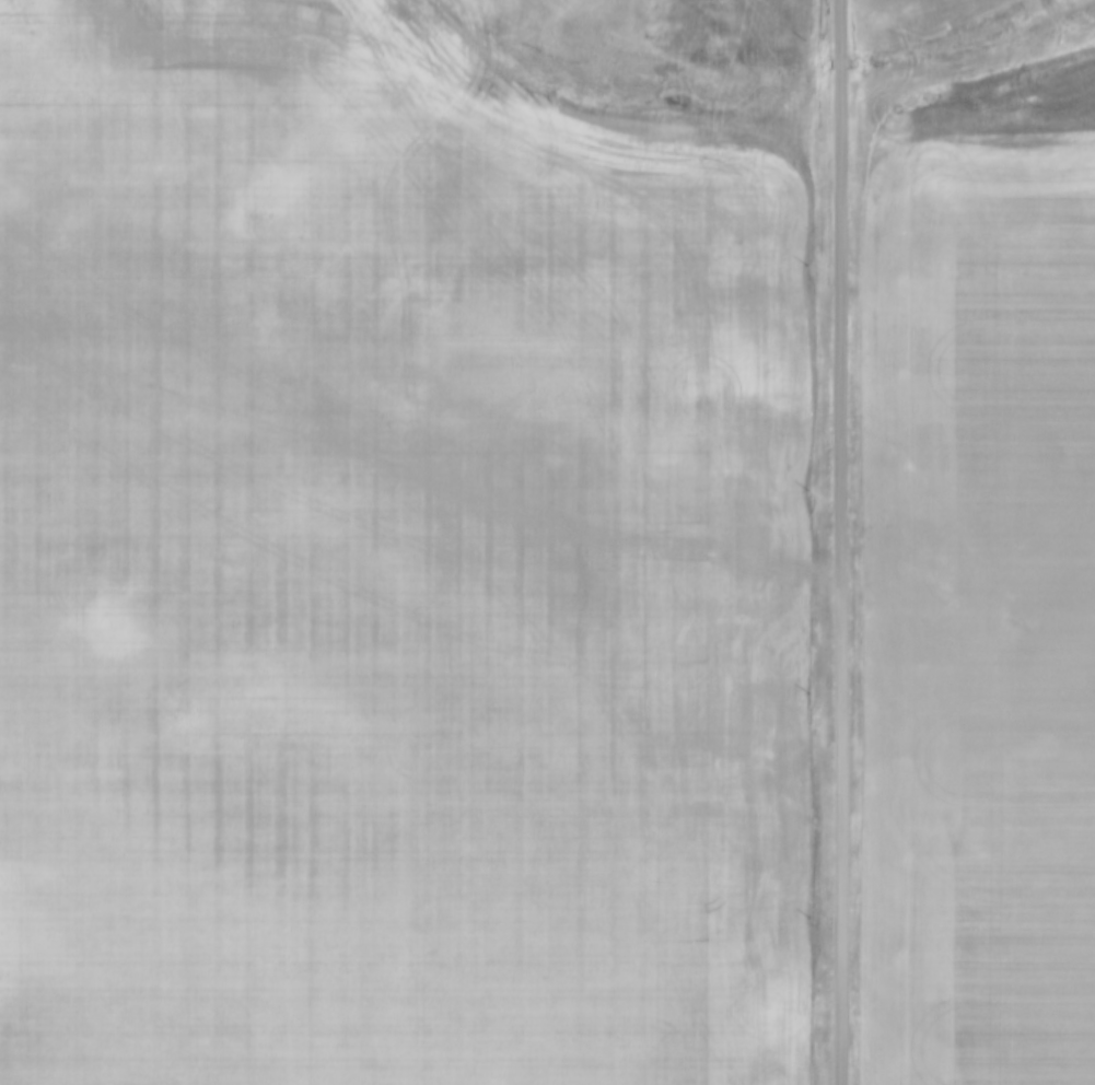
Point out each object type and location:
road: (839, 542)

